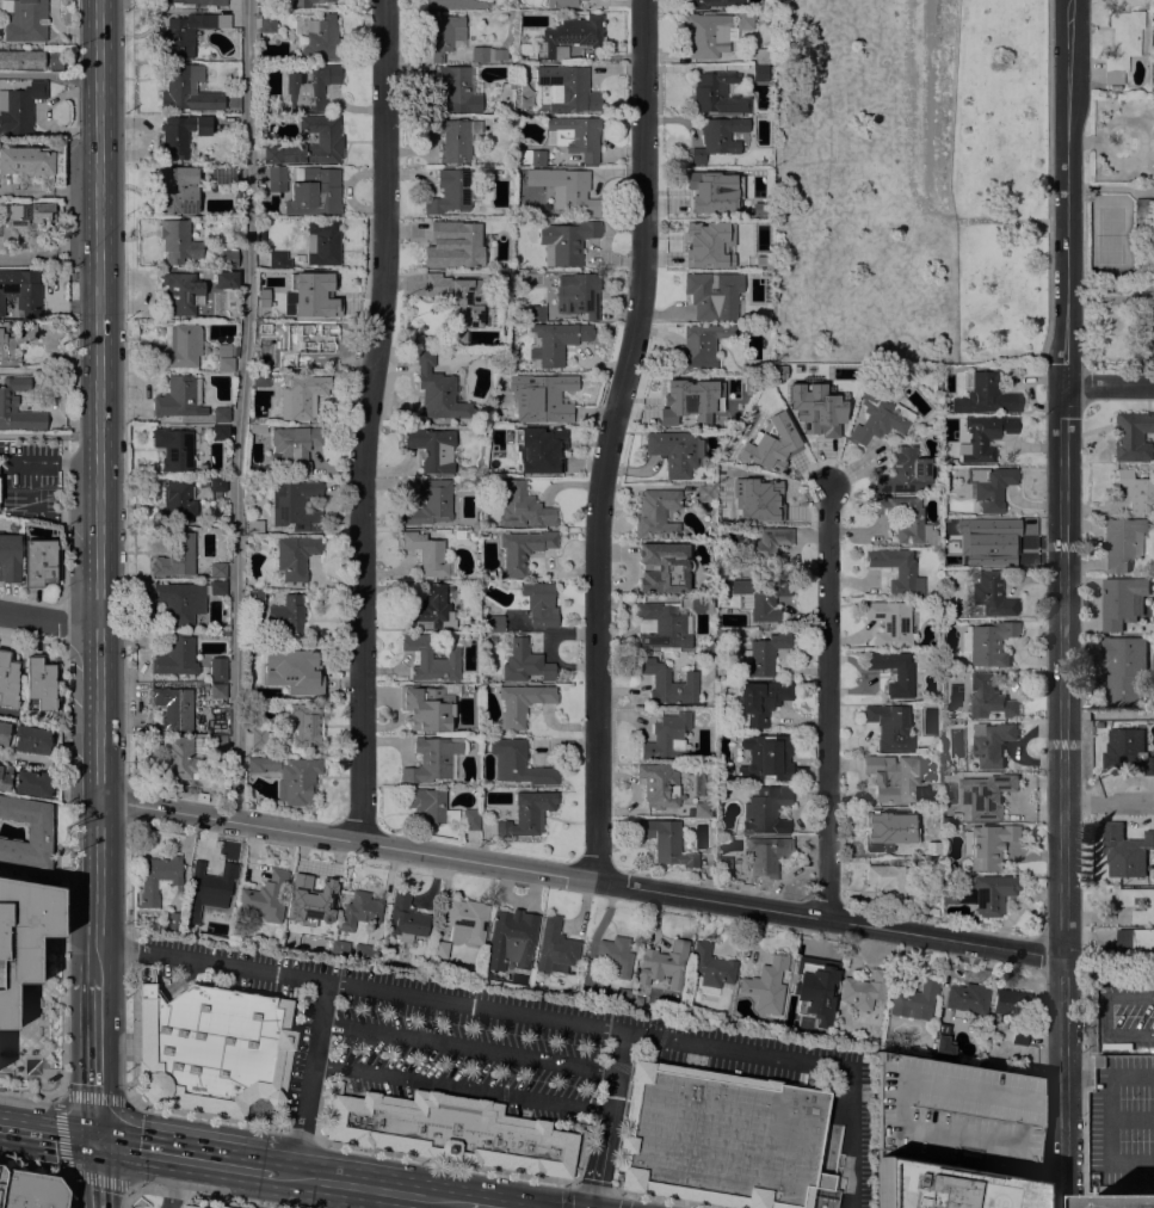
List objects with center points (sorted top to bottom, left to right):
building: (198, 2)
building: (307, 2)
building: (714, 2)
building: (458, 4)
building: (561, 4)
building: (24, 20)
building: (745, 20)
building: (267, 24)
building: (187, 32)
building: (706, 35)
building: (446, 36)
building: (569, 37)
building: (320, 39)
building: (1122, 44)
building: (524, 49)
building: (487, 54)
building: (761, 56)
building: (21, 58)
building: (1153, 68)
building: (759, 73)
building: (1153, 81)
dam: (934, 84)
building: (310, 87)
building: (570, 88)
building: (187, 91)
building: (457, 91)
building: (718, 93)
road: (97, 95)
road: (926, 100)
building: (19, 107)
building: (181, 134)
building: (575, 136)
building: (452, 137)
building: (717, 137)
building: (329, 140)
building: (531, 156)
building: (26, 161)
building: (222, 174)
road: (911, 178)
building: (276, 179)
park: (999, 179)
park: (907, 180)
park: (907, 180)
building: (179, 190)
building: (570, 190)
road: (49, 191)
building: (449, 191)
building: (313, 192)
building: (718, 192)
building: (1143, 207)
building: (21, 220)
building: (726, 240)
building: (566, 241)
building: (178, 242)
building: (322, 242)
building: (453, 244)
road: (48, 253)
building: (228, 259)
building: (277, 260)
building: (285, 277)
building: (226, 281)
building: (504, 281)
building: (20, 291)
building: (183, 292)
building: (578, 294)
building: (712, 295)
building: (458, 296)
building: (316, 297)
building: (270, 312)
building: (536, 313)
building: (303, 338)
building: (556, 341)
building: (14, 344)
building: (1149, 344)
building: (702, 345)
building: (181, 347)
building: (224, 350)
building: (226, 364)
road: (48, 370)
building: (260, 380)
building: (743, 382)
road: (1107, 386)
building: (439, 392)
building: (301, 396)
building: (986, 396)
building: (179, 397)
building: (541, 399)
building: (8, 400)
building: (690, 403)
building: (827, 406)
road: (240, 409)
building: (220, 414)
building: (878, 418)
road: (370, 420)
building: (257, 429)
building: (220, 432)
building: (1131, 436)
building: (983, 437)
road: (615, 438)
building: (769, 444)
building: (291, 446)
building: (432, 448)
building: (174, 449)
building: (539, 449)
building: (674, 451)
building: (728, 454)
building: (903, 472)
road: (1062, 477)
building: (495, 481)
building: (217, 483)
building: (991, 486)
road: (35, 487)
building: (1137, 492)
building: (705, 493)
building: (753, 494)
building: (177, 503)
building: (431, 504)
building: (295, 505)
building: (523, 507)
building: (656, 513)
building: (723, 518)
building: (907, 519)
building: (475, 524)
building: (12, 526)
building: (254, 528)
building: (475, 532)
building: (1122, 542)
building: (988, 543)
building: (767, 546)
building: (263, 547)
building: (523, 549)
building: (426, 553)
building: (177, 556)
building: (10, 557)
building: (295, 557)
building: (39, 562)
building: (664, 567)
building: (217, 569)
building: (897, 571)
road: (98, 584)
building: (217, 587)
building: (992, 594)
building: (763, 597)
building: (254, 599)
building: (1123, 602)
building: (179, 603)
building: (539, 604)
building: (699, 604)
building: (430, 609)
building: (286, 616)
road: (48, 621)
building: (493, 623)
building: (890, 623)
building: (661, 628)
building: (223, 630)
building: (988, 643)
building: (710, 646)
building: (764, 654)
building: (175, 657)
building: (430, 659)
building: (525, 662)
building: (217, 668)
building: (1124, 670)
building: (291, 671)
building: (903, 676)
building: (7, 679)
building: (39, 682)
building: (668, 683)
building: (218, 691)
building: (989, 697)
building: (760, 702)
building: (520, 703)
road: (828, 704)
building: (174, 708)
building: (427, 708)
building: (306, 725)
building: (889, 727)
building: (4, 734)
building: (667, 736)
building: (258, 738)
building: (31, 740)
building: (218, 742)
building: (992, 742)
building: (1128, 750)
building: (181, 758)
building: (765, 758)
building: (433, 760)
building: (518, 763)
building: (263, 764)
building: (893, 776)
building: (5, 777)
building: (297, 781)
building: (32, 783)
building: (659, 785)
building: (985, 795)
road: (1109, 803)
building: (431, 806)
building: (702, 809)
building: (765, 811)
building: (527, 814)
building: (470, 819)
building: (897, 827)
building: (26, 832)
building: (666, 842)
building: (987, 844)
building: (1125, 850)
building: (766, 855)
road: (61, 859)
building: (723, 864)
building: (158, 877)
road: (579, 877)
building: (887, 880)
building: (208, 889)
building: (933, 892)
building: (985, 893)
building: (266, 894)
building: (311, 900)
building: (1138, 902)
building: (359, 911)
building: (406, 918)
building: (173, 920)
building: (465, 920)
building: (222, 930)
building: (23, 936)
building: (511, 939)
building: (1138, 943)
building: (555, 945)
building: (339, 949)
building: (440, 949)
building: (366, 951)
building: (615, 956)
building: (664, 964)
building: (711, 969)
road: (1062, 975)
building: (766, 985)
building: (811, 986)
building: (864, 990)
road: (1084, 994)
building: (623, 996)
road: (1129, 996)
building: (965, 997)
building: (914, 1000)
building: (1012, 1011)
road: (539, 1016)
building: (942, 1030)
road: (1112, 1031)
building: (942, 1044)
road: (468, 1047)
building: (214, 1050)
road: (97, 1059)
road: (309, 1078)
road: (461, 1086)
road: (29, 1092)
road: (1063, 1101)
road: (1085, 1101)
road: (200, 1115)
road: (607, 1120)
road: (61, 1130)
building: (453, 1132)
road: (48, 1134)
building: (721, 1138)
building: (948, 1139)
traffic signals: (98, 1141)
road: (186, 1157)
road: (35, 1164)
road: (98, 1175)
road: (579, 1185)
road: (370, 1188)
building: (30, 1190)
road: (126, 1196)
road: (204, 1196)
road: (662, 1198)
building: (1125, 1200)
road: (621, 1202)
road: (439, 1203)
building: (187, 1206)
road: (480, 1206)
building: (221, 1207)

